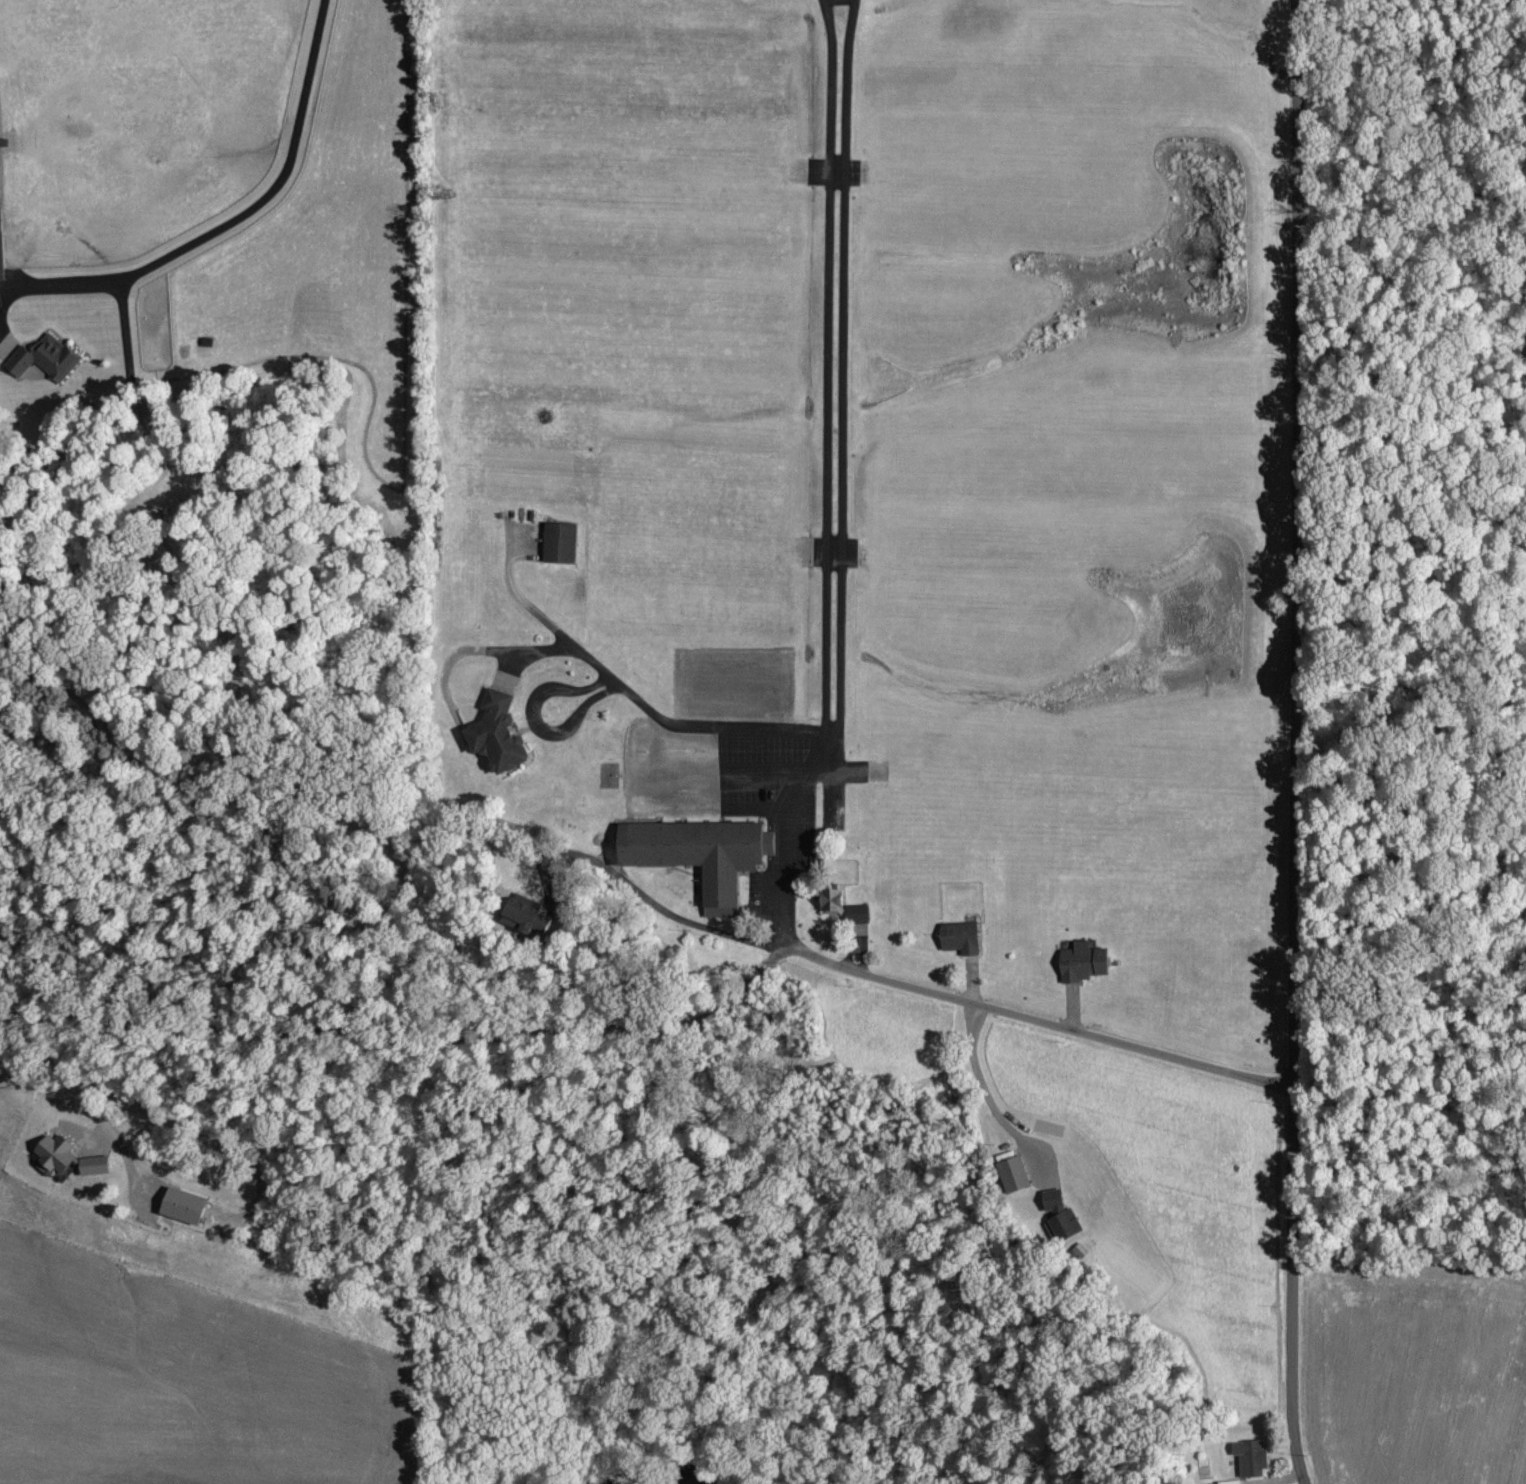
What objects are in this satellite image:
road: (230, 218)
building: (46, 358)
road: (832, 481)
building: (560, 543)
road: (643, 708)
building: (497, 734)
road: (1293, 743)
building: (700, 855)
building: (833, 902)
road: (656, 909)
building: (858, 914)
building: (527, 918)
building: (961, 938)
building: (1084, 963)
road: (665, 1028)
building: (68, 1158)
building: (1014, 1175)
building: (183, 1206)
building: (1061, 1216)
building: (1252, 1457)
building: (1231, 1482)

